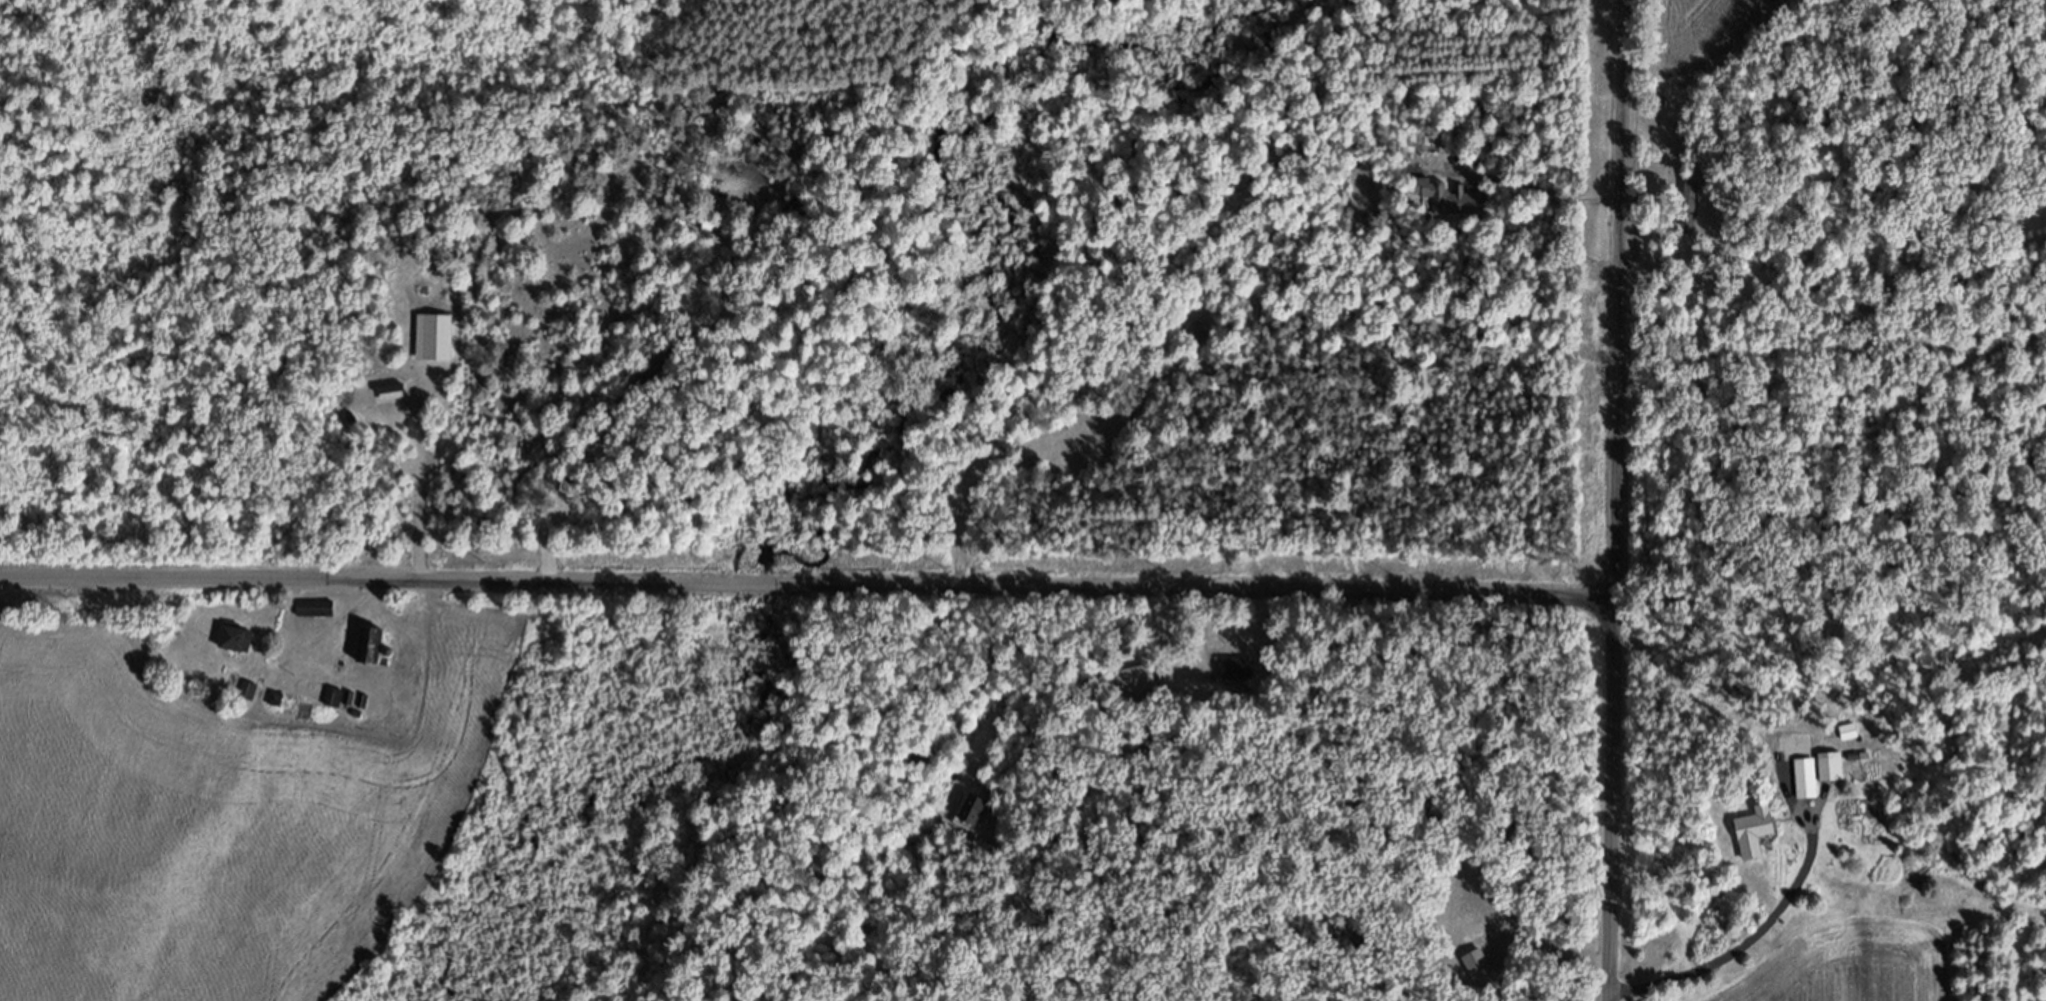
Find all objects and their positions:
building: (1693, 209)
road: (1620, 500)
road: (809, 587)
building: (318, 616)
building: (237, 647)
building: (372, 653)
building: (1241, 676)
building: (1140, 686)
building: (336, 704)
building: (1833, 774)
road: (1852, 775)
building: (1809, 784)
building: (974, 816)
building: (1757, 839)
building: (1481, 972)

